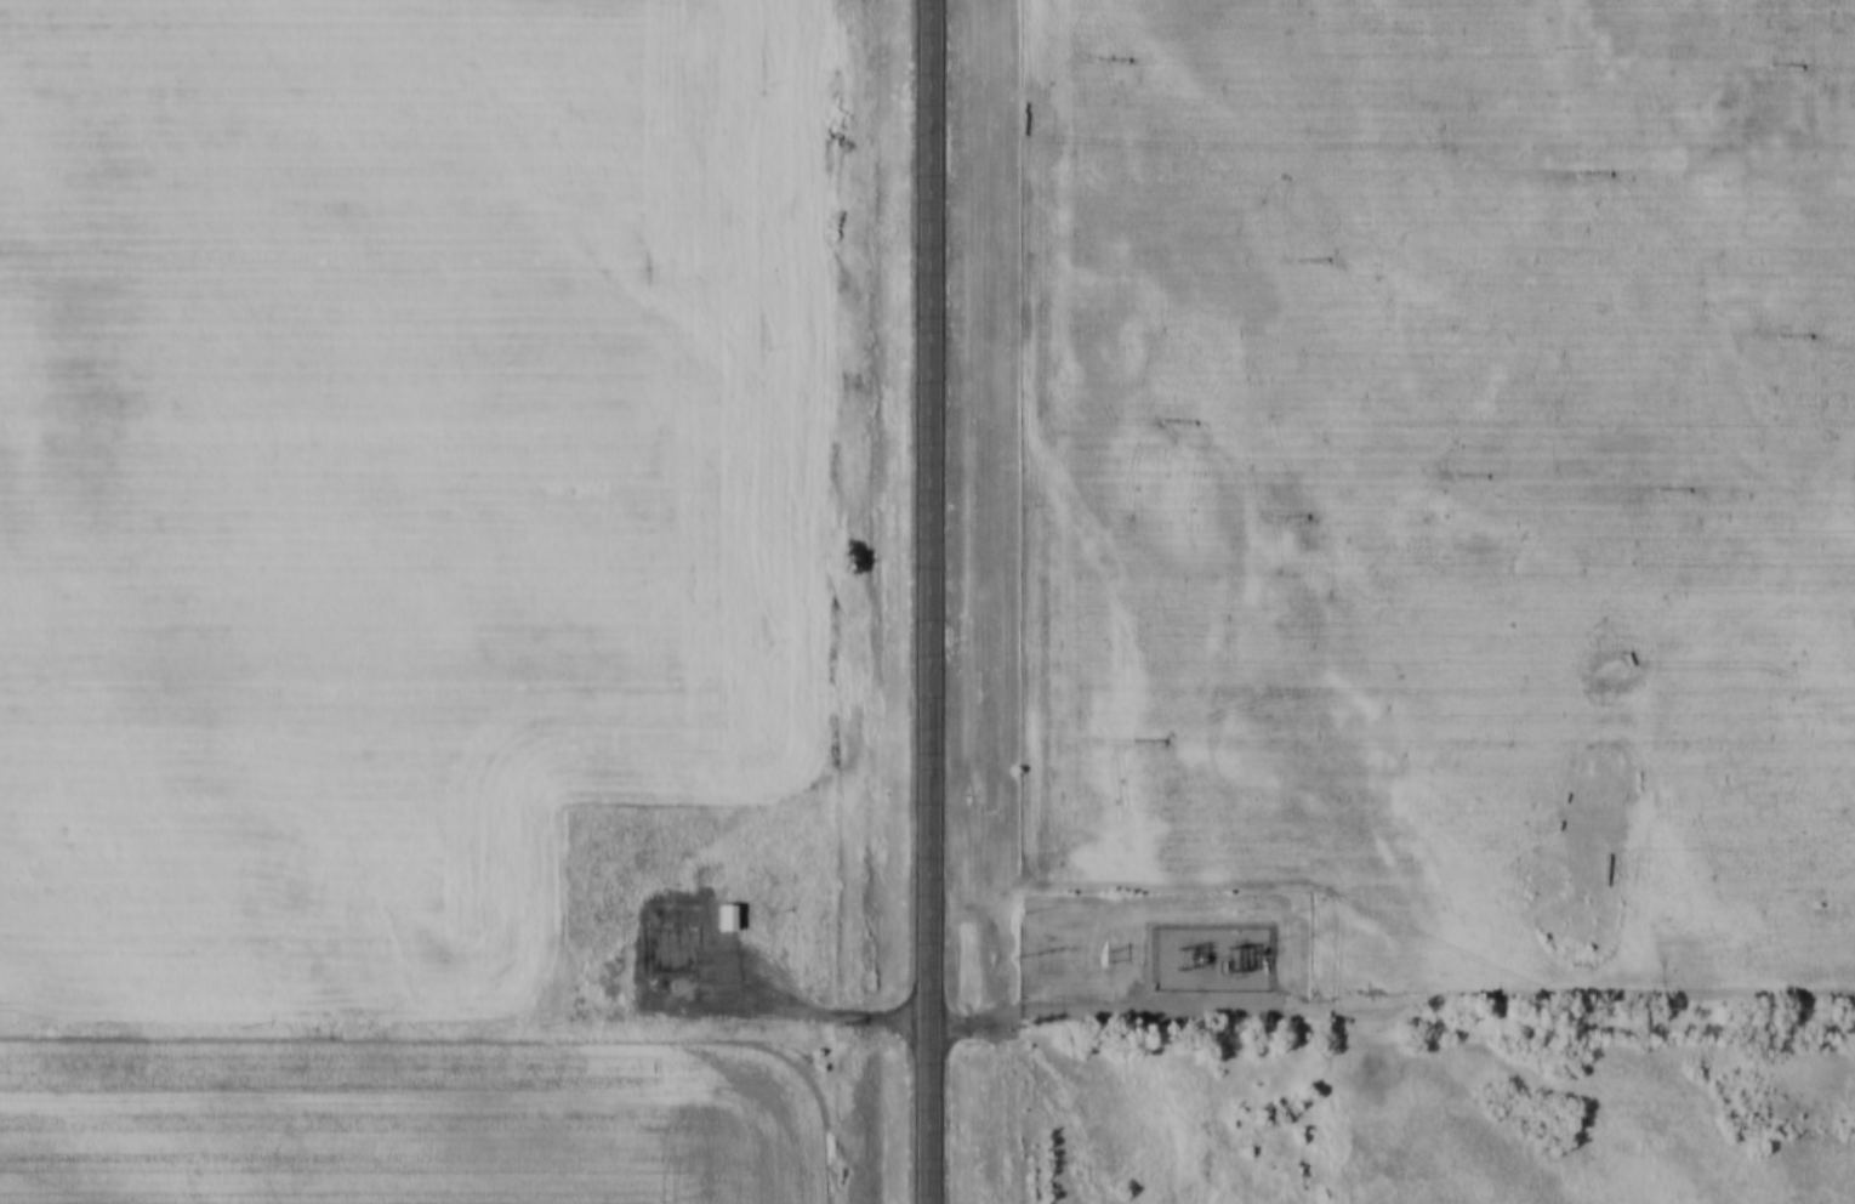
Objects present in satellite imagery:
crop: (381, 459)
road: (933, 601)
building: (729, 916)
power substation: (1211, 958)
road: (792, 1003)
road: (1099, 1003)
road: (1057, 1104)
building: (1273, 1113)

